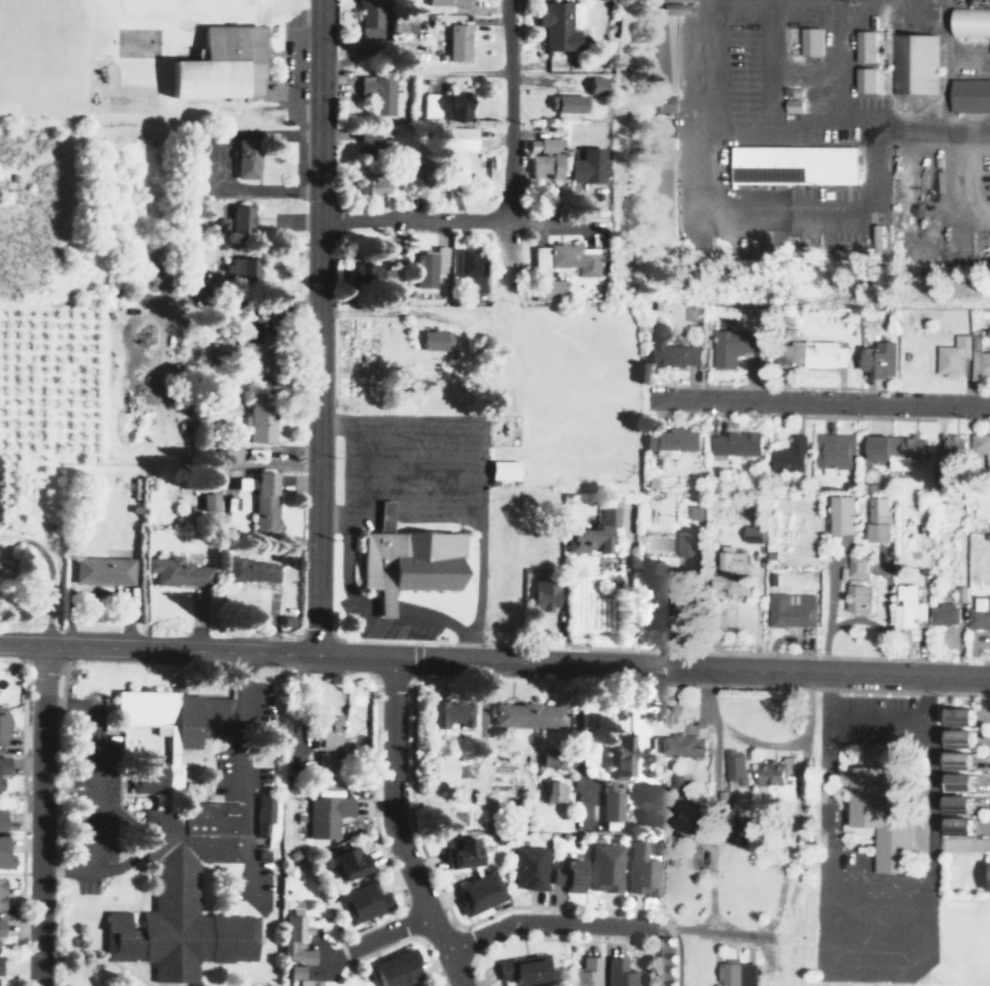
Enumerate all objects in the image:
building: (675, 0)
building: (445, 2)
building: (674, 7)
building: (366, 14)
building: (970, 20)
building: (403, 25)
building: (554, 26)
building: (809, 41)
building: (455, 42)
building: (863, 45)
building: (663, 51)
building: (913, 63)
road: (767, 64)
building: (217, 66)
road: (413, 72)
building: (864, 80)
building: (589, 86)
building: (791, 91)
building: (376, 94)
building: (969, 94)
building: (666, 103)
building: (561, 105)
building: (792, 105)
building: (444, 106)
road: (507, 110)
road: (793, 128)
building: (451, 140)
building: (371, 145)
building: (244, 158)
building: (541, 161)
building: (792, 164)
building: (580, 168)
road: (957, 184)
building: (369, 185)
building: (662, 185)
road: (787, 215)
building: (239, 220)
road: (439, 220)
building: (560, 256)
building: (426, 266)
building: (468, 267)
building: (233, 271)
building: (371, 272)
building: (543, 289)
road: (548, 324)
road: (317, 326)
building: (210, 338)
building: (436, 340)
building: (732, 346)
building: (254, 354)
building: (672, 354)
building: (809, 354)
building: (953, 355)
building: (879, 359)
building: (980, 363)
road: (818, 402)
building: (258, 417)
road: (409, 422)
road: (559, 427)
building: (735, 443)
building: (981, 446)
building: (896, 447)
building: (834, 450)
building: (953, 450)
building: (789, 456)
road: (408, 461)
building: (503, 471)
road: (349, 492)
building: (260, 500)
building: (206, 503)
road: (408, 506)
building: (843, 515)
building: (386, 516)
road: (333, 518)
building: (879, 519)
road: (480, 529)
building: (753, 533)
building: (585, 538)
building: (688, 543)
building: (411, 561)
building: (856, 565)
building: (101, 570)
building: (250, 570)
building: (174, 571)
building: (732, 572)
road: (52, 574)
building: (661, 592)
building: (548, 594)
building: (856, 597)
building: (385, 603)
road: (399, 606)
building: (908, 607)
building: (791, 610)
building: (980, 613)
building: (944, 614)
building: (651, 619)
road: (462, 632)
road: (652, 651)
road: (387, 656)
road: (882, 673)
road: (494, 677)
building: (450, 712)
building: (529, 715)
building: (959, 716)
road: (876, 717)
building: (3, 723)
building: (326, 731)
building: (960, 738)
building: (683, 746)
building: (622, 755)
building: (958, 760)
building: (325, 761)
building: (735, 765)
building: (2, 769)
building: (443, 769)
road: (243, 776)
building: (777, 778)
building: (959, 781)
road: (87, 787)
road: (824, 789)
building: (555, 791)
road: (930, 797)
building: (611, 801)
building: (880, 809)
building: (264, 813)
building: (326, 815)
road: (43, 816)
building: (1, 820)
road: (24, 823)
road: (60, 824)
road: (392, 828)
road: (419, 836)
road: (377, 838)
building: (175, 845)
building: (5, 853)
building: (462, 853)
building: (347, 862)
road: (844, 865)
building: (529, 867)
building: (605, 867)
building: (640, 870)
park: (962, 874)
building: (568, 875)
road: (913, 877)
building: (1, 892)
building: (479, 892)
building: (362, 902)
road: (594, 909)
road: (576, 923)
building: (0, 926)
road: (371, 926)
road: (856, 927)
road: (895, 929)
road: (819, 930)
road: (386, 933)
building: (296, 935)
road: (932, 936)
road: (577, 939)
road: (382, 948)
park: (952, 948)
building: (0, 965)
building: (396, 968)
building: (524, 968)
building: (586, 972)
building: (619, 972)
building: (736, 973)
building: (298, 974)

